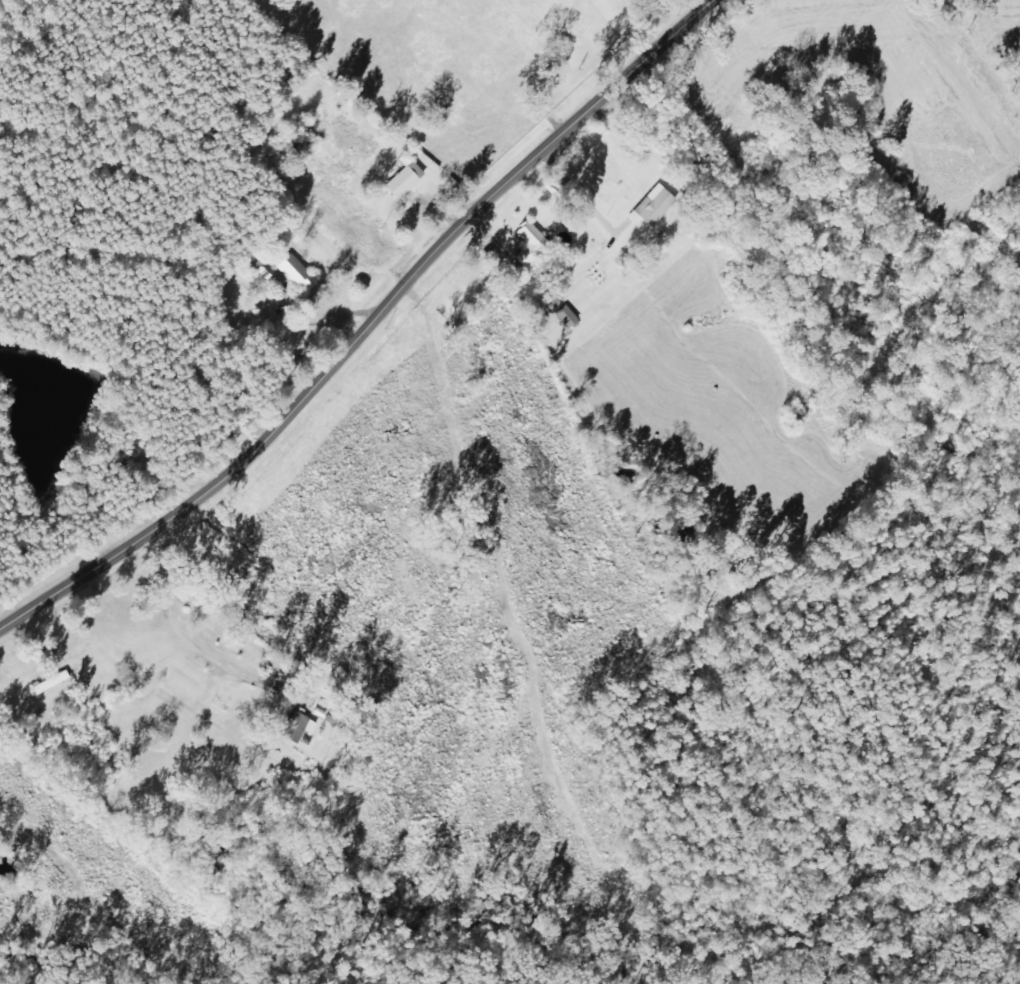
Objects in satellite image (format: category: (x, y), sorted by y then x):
building: (409, 181)
building: (529, 246)
building: (297, 271)
building: (272, 276)
building: (562, 313)
road: (366, 330)
building: (301, 726)

